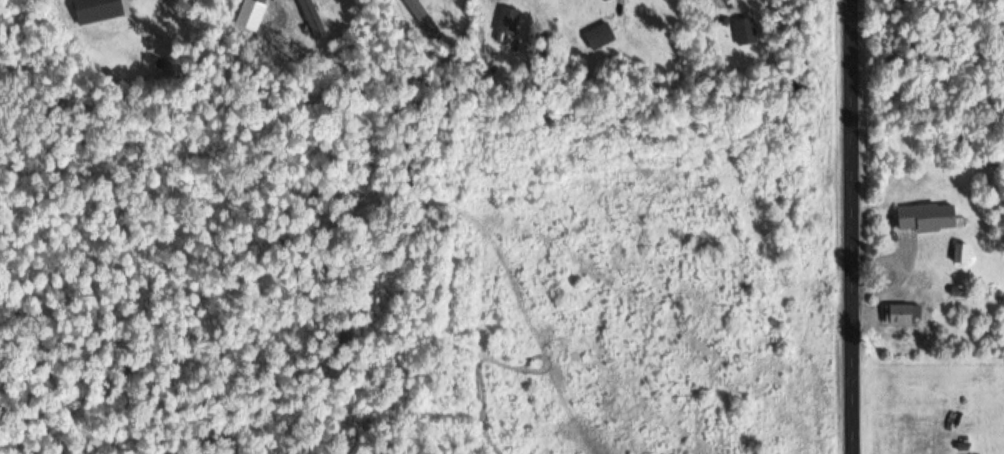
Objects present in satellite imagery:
building: (99, 10)
building: (424, 18)
building: (508, 21)
building: (746, 32)
building: (600, 37)
building: (928, 218)
road: (856, 227)
building: (966, 253)
building: (905, 315)

